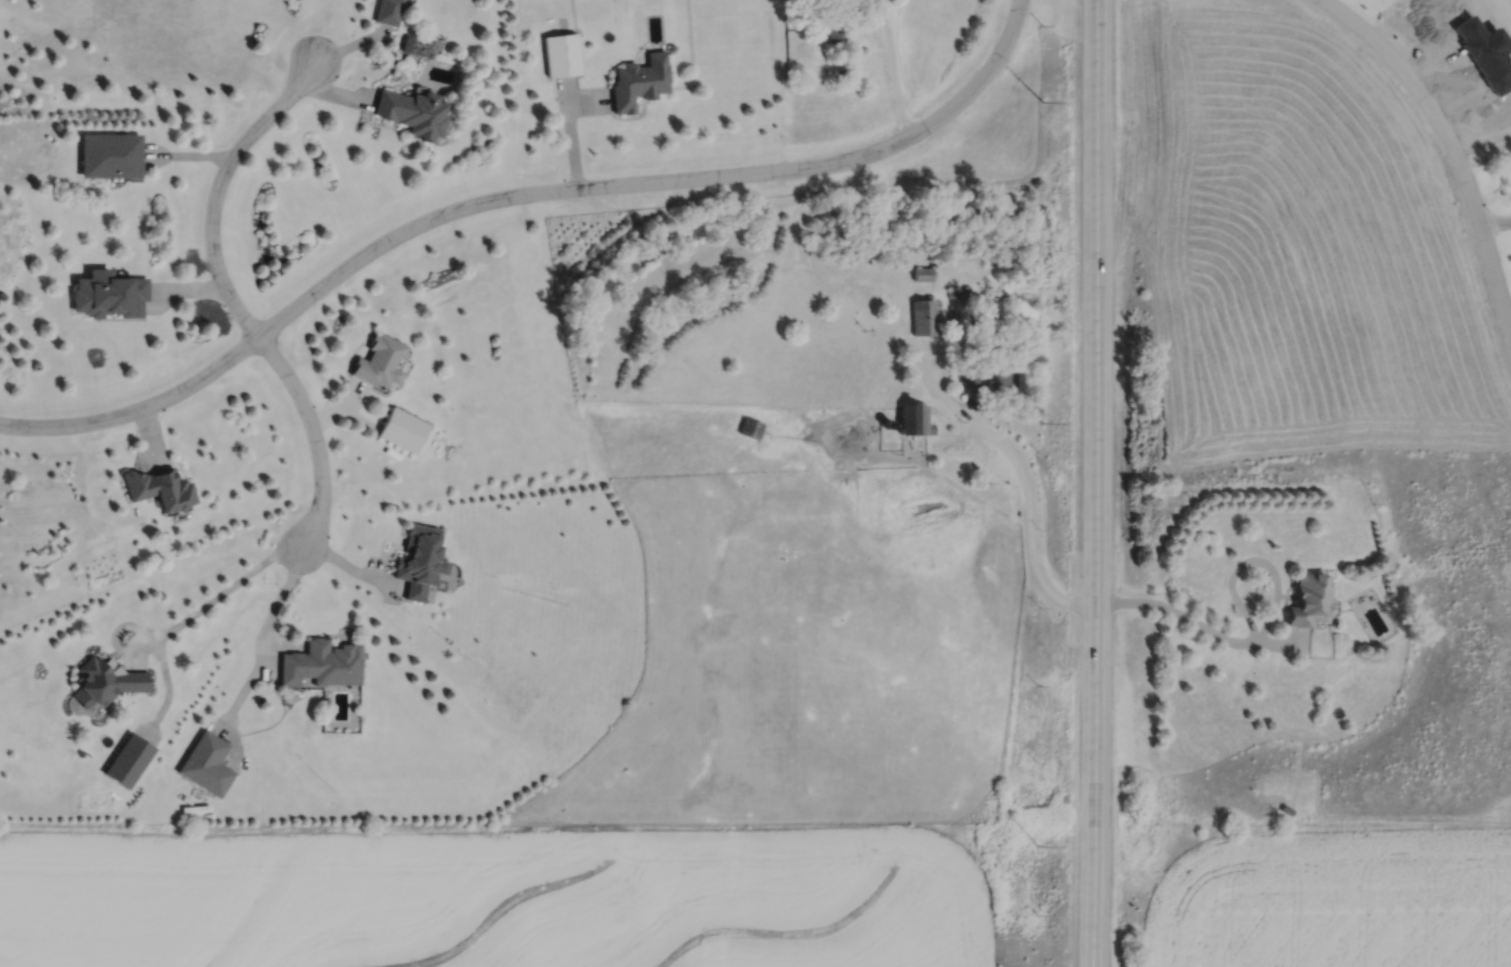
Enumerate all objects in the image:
building: (831, 35)
building: (564, 55)
road: (892, 68)
building: (642, 82)
power tower: (1041, 102)
building: (414, 112)
road: (572, 137)
road: (1450, 146)
building: (112, 155)
road: (218, 185)
road: (517, 198)
road: (1493, 222)
building: (918, 274)
building: (111, 295)
building: (918, 317)
building: (382, 361)
building: (982, 373)
building: (908, 417)
building: (747, 428)
building: (405, 430)
road: (318, 440)
road: (1096, 483)
building: (163, 488)
road: (1026, 496)
building: (422, 561)
road: (221, 591)
road: (277, 602)
building: (1305, 602)
road: (1193, 623)
building: (324, 664)
building: (110, 680)
building: (131, 760)
building: (208, 764)
power tower: (1035, 846)

